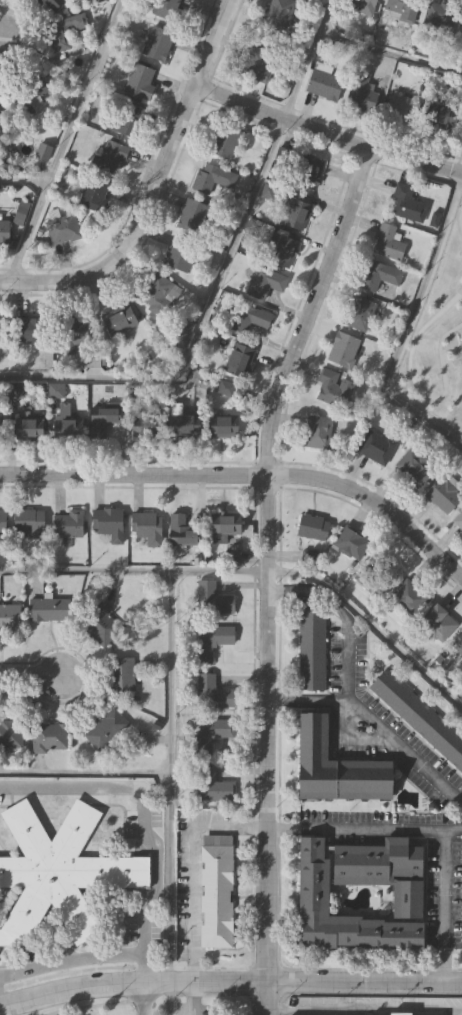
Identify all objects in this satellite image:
building: (51, 5)
building: (360, 6)
building: (165, 9)
building: (402, 9)
building: (279, 14)
building: (436, 18)
building: (63, 32)
building: (158, 45)
road: (389, 53)
building: (256, 64)
building: (140, 82)
building: (323, 84)
building: (33, 91)
building: (359, 94)
building: (403, 108)
building: (127, 120)
road: (325, 135)
road: (64, 141)
building: (224, 142)
building: (111, 158)
building: (308, 172)
building: (210, 178)
road: (23, 180)
road: (152, 188)
building: (94, 195)
building: (408, 205)
building: (193, 215)
building: (297, 215)
building: (64, 230)
building: (4, 235)
building: (388, 243)
building: (284, 251)
building: (180, 254)
road: (220, 271)
building: (379, 276)
building: (265, 282)
building: (156, 294)
building: (358, 314)
building: (248, 318)
building: (119, 319)
building: (184, 328)
building: (75, 330)
road: (405, 330)
building: (28, 331)
park: (437, 337)
building: (344, 349)
building: (240, 360)
building: (334, 388)
building: (17, 391)
building: (106, 418)
building: (181, 420)
building: (147, 425)
building: (70, 428)
building: (226, 428)
building: (30, 429)
building: (1, 431)
building: (318, 432)
building: (377, 448)
building: (415, 467)
road: (248, 474)
building: (444, 496)
building: (29, 523)
building: (68, 524)
building: (109, 524)
building: (460, 524)
building: (227, 525)
building: (2, 527)
building: (147, 528)
building: (314, 528)
building: (182, 531)
building: (352, 544)
road: (256, 572)
road: (266, 574)
building: (378, 576)
building: (411, 597)
building: (212, 599)
building: (49, 610)
building: (10, 618)
building: (101, 624)
building: (440, 624)
building: (211, 638)
building: (312, 650)
building: (457, 650)
road: (30, 675)
building: (122, 675)
building: (212, 690)
road: (345, 690)
road: (306, 699)
building: (419, 717)
building: (105, 730)
building: (11, 734)
building: (211, 734)
building: (49, 738)
road: (349, 741)
road: (169, 753)
building: (337, 764)
building: (212, 785)
road: (145, 817)
road: (363, 829)
building: (58, 870)
road: (192, 870)
building: (385, 870)
building: (314, 883)
building: (217, 889)
road: (444, 905)
building: (461, 924)
road: (74, 958)
road: (229, 980)
road: (145, 997)
road: (192, 997)
building: (403, 1012)

